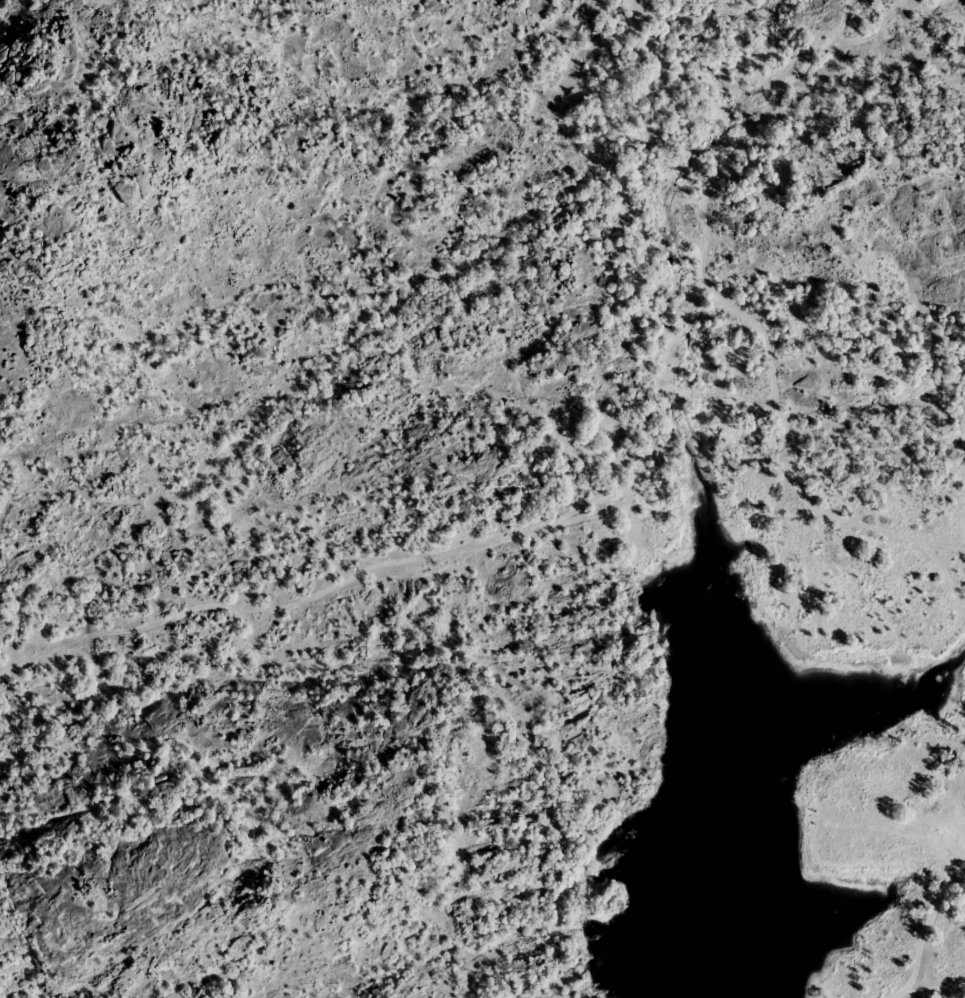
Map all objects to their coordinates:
road: (740, 312)
road: (925, 989)

